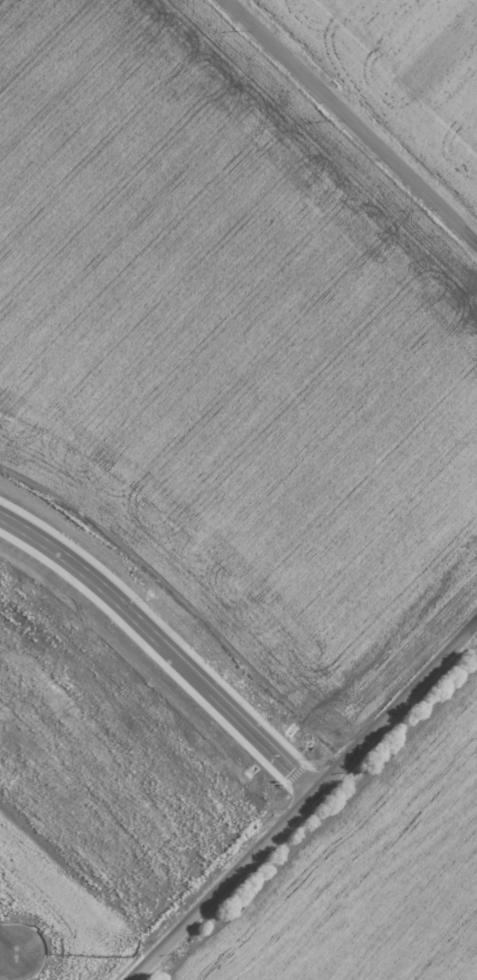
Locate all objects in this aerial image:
building: (0, 35)
road: (354, 118)
road: (164, 654)
road: (310, 807)
road: (8, 944)
road: (8, 960)

